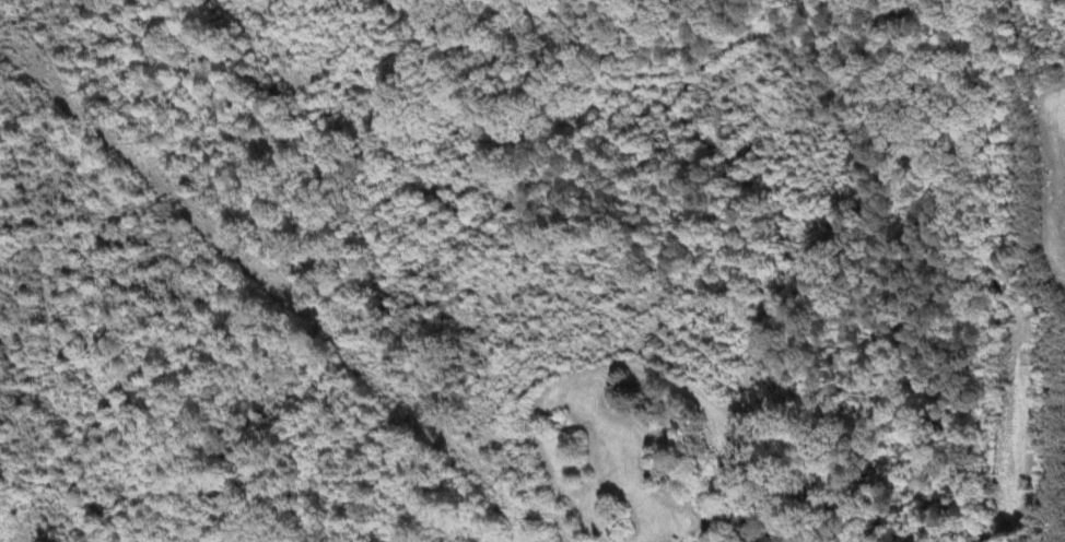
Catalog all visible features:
building: (771, 539)
building: (786, 539)

